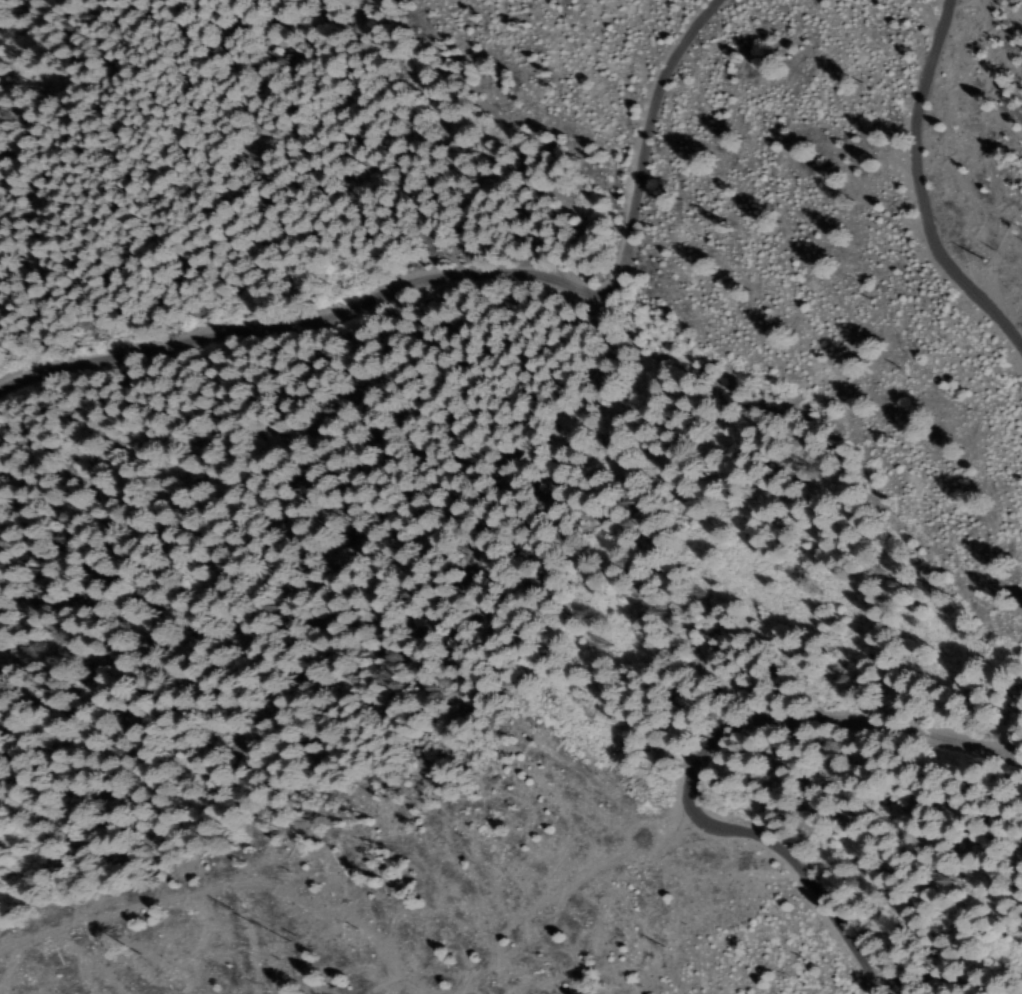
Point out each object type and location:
road: (429, 277)

